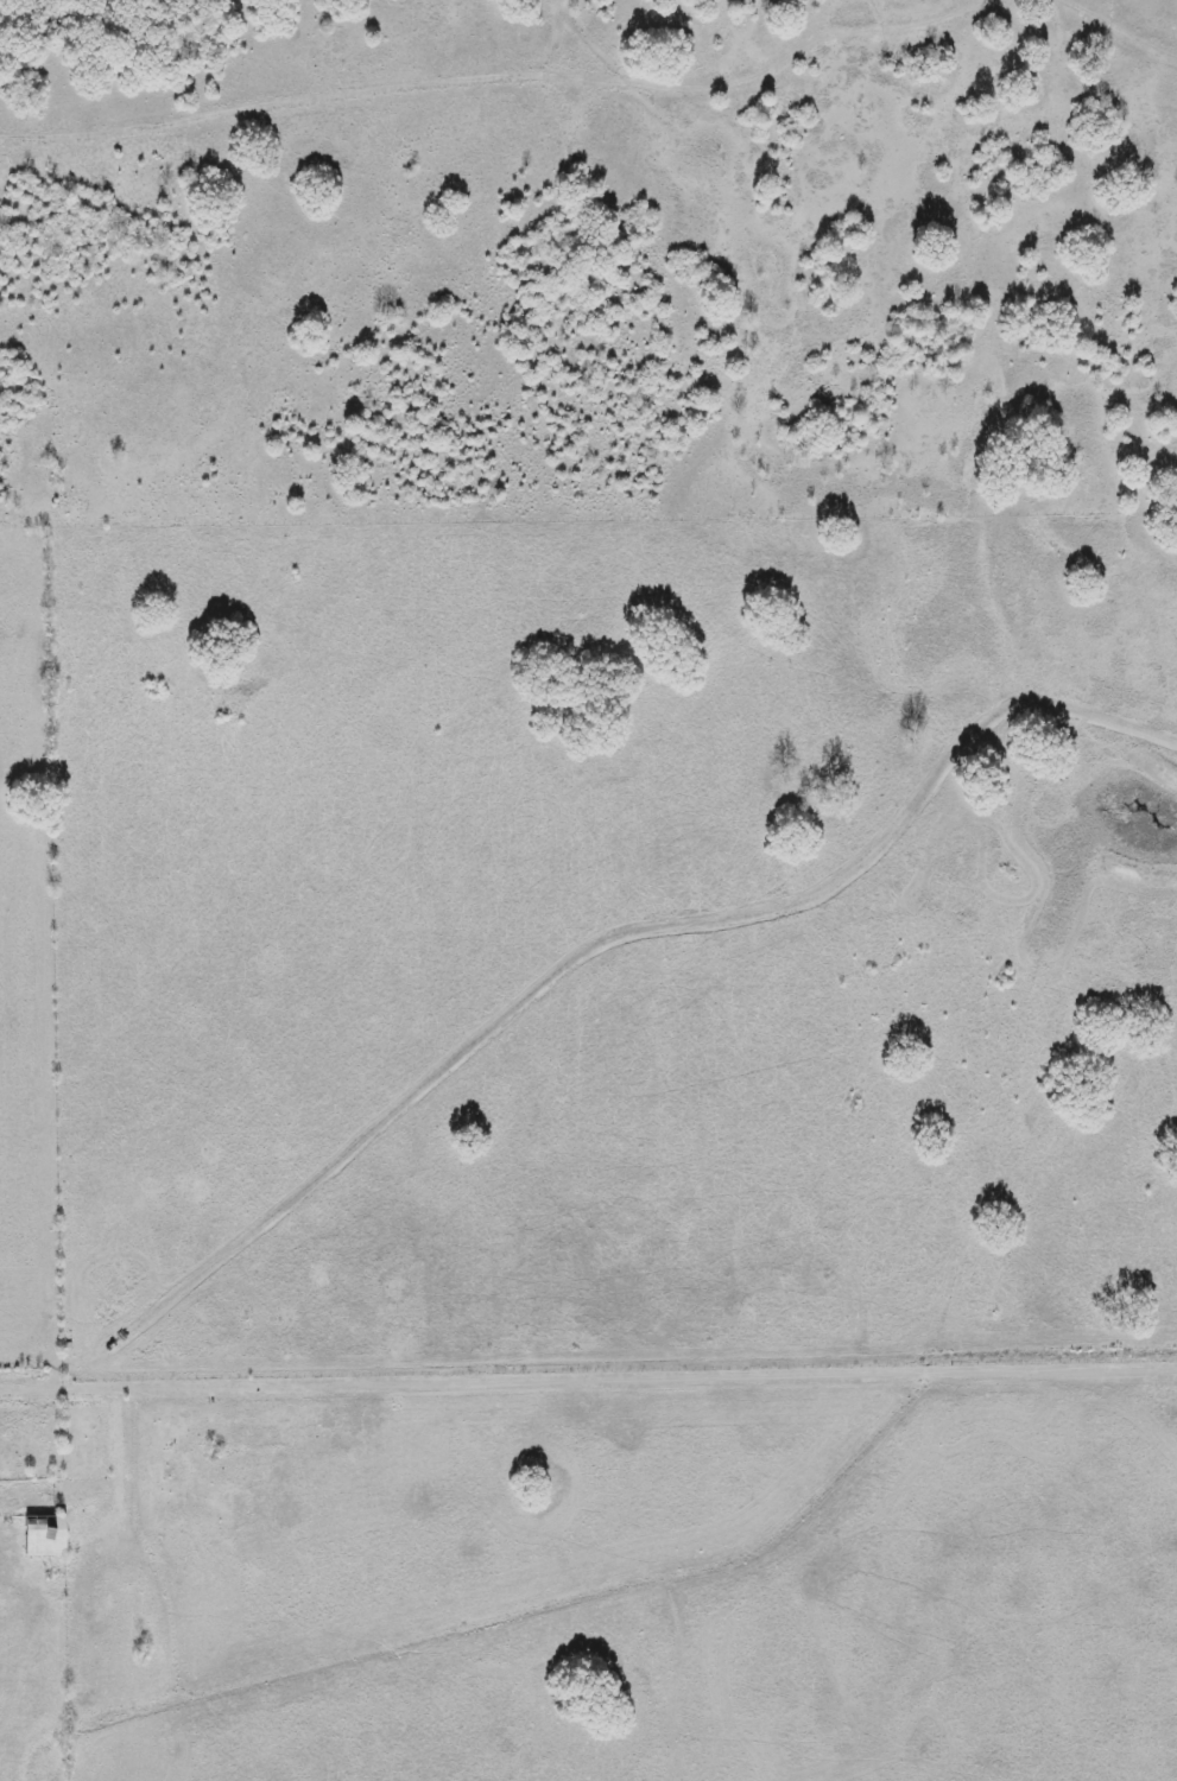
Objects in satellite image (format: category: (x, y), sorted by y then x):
building: (43, 1535)

